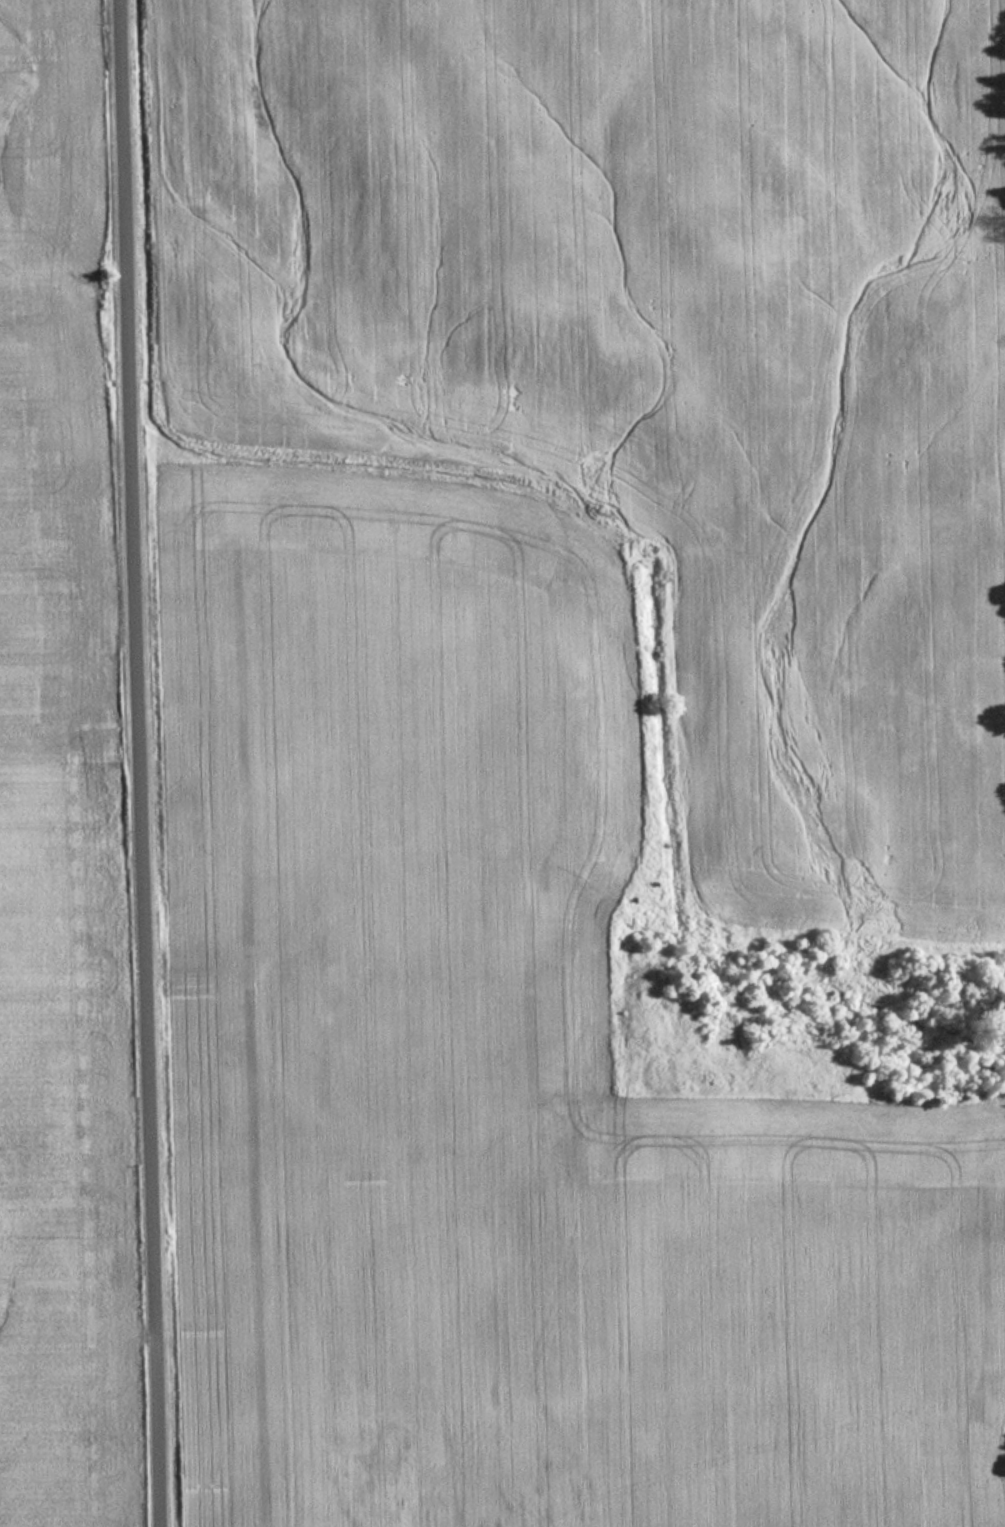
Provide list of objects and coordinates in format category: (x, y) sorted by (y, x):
road: (139, 763)
building: (301, 1482)
building: (357, 1495)

